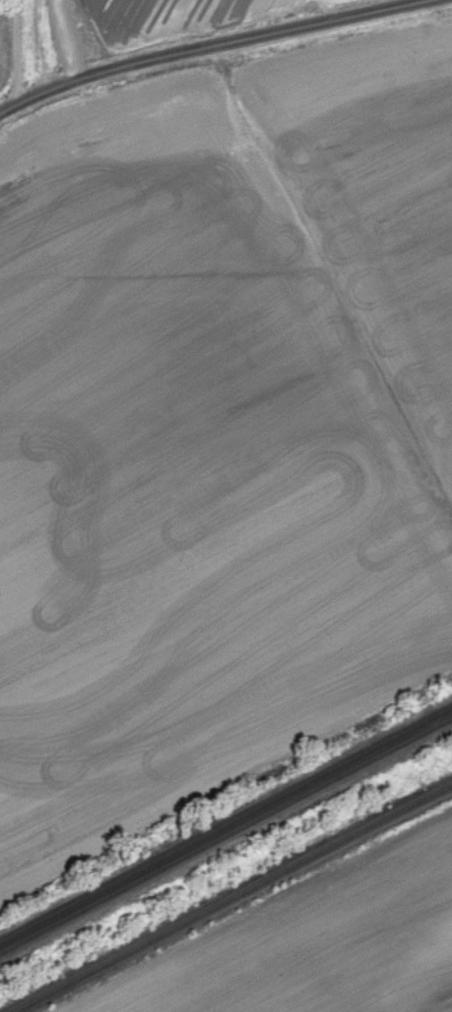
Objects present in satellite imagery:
road: (65, 40)
road: (219, 47)
road: (15, 52)
railway: (226, 824)
railway: (225, 834)
railway: (232, 897)

